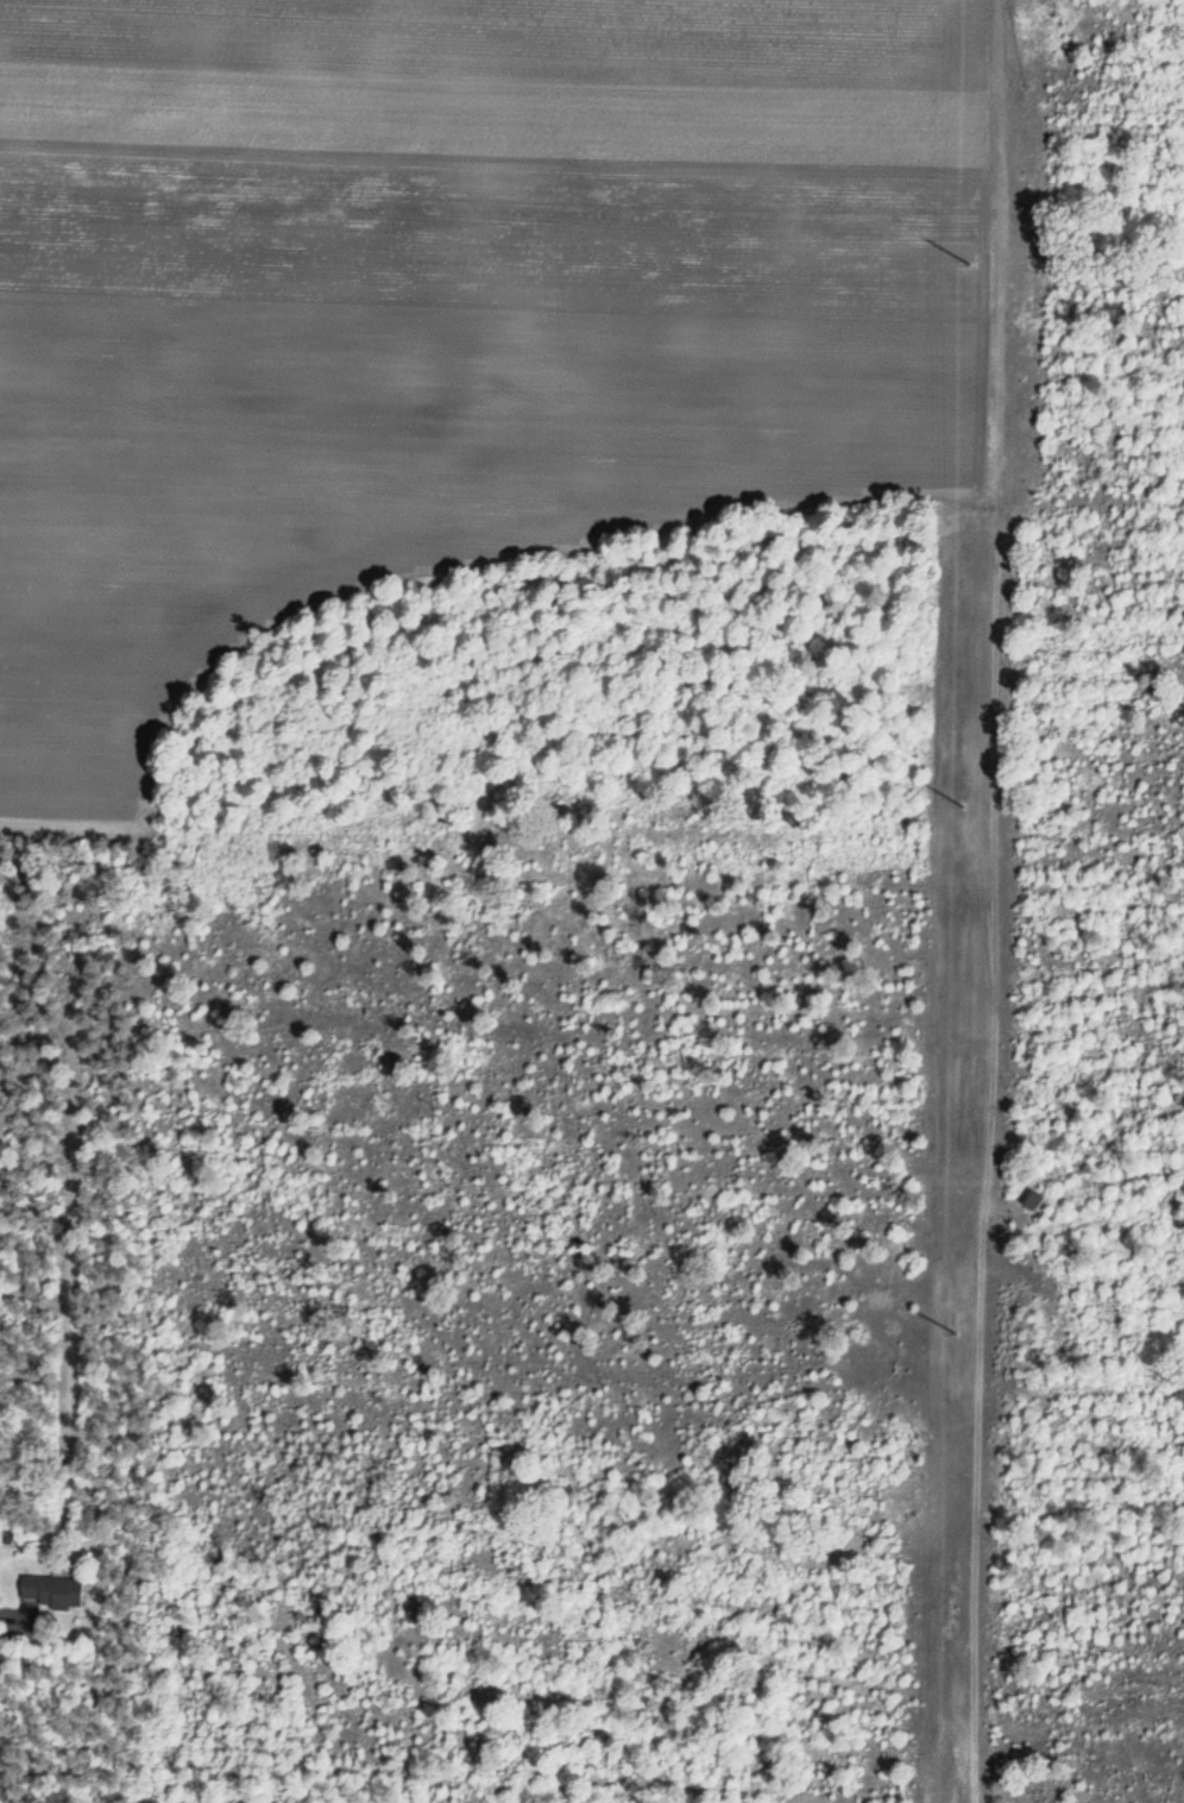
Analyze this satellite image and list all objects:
building: (52, 1594)

